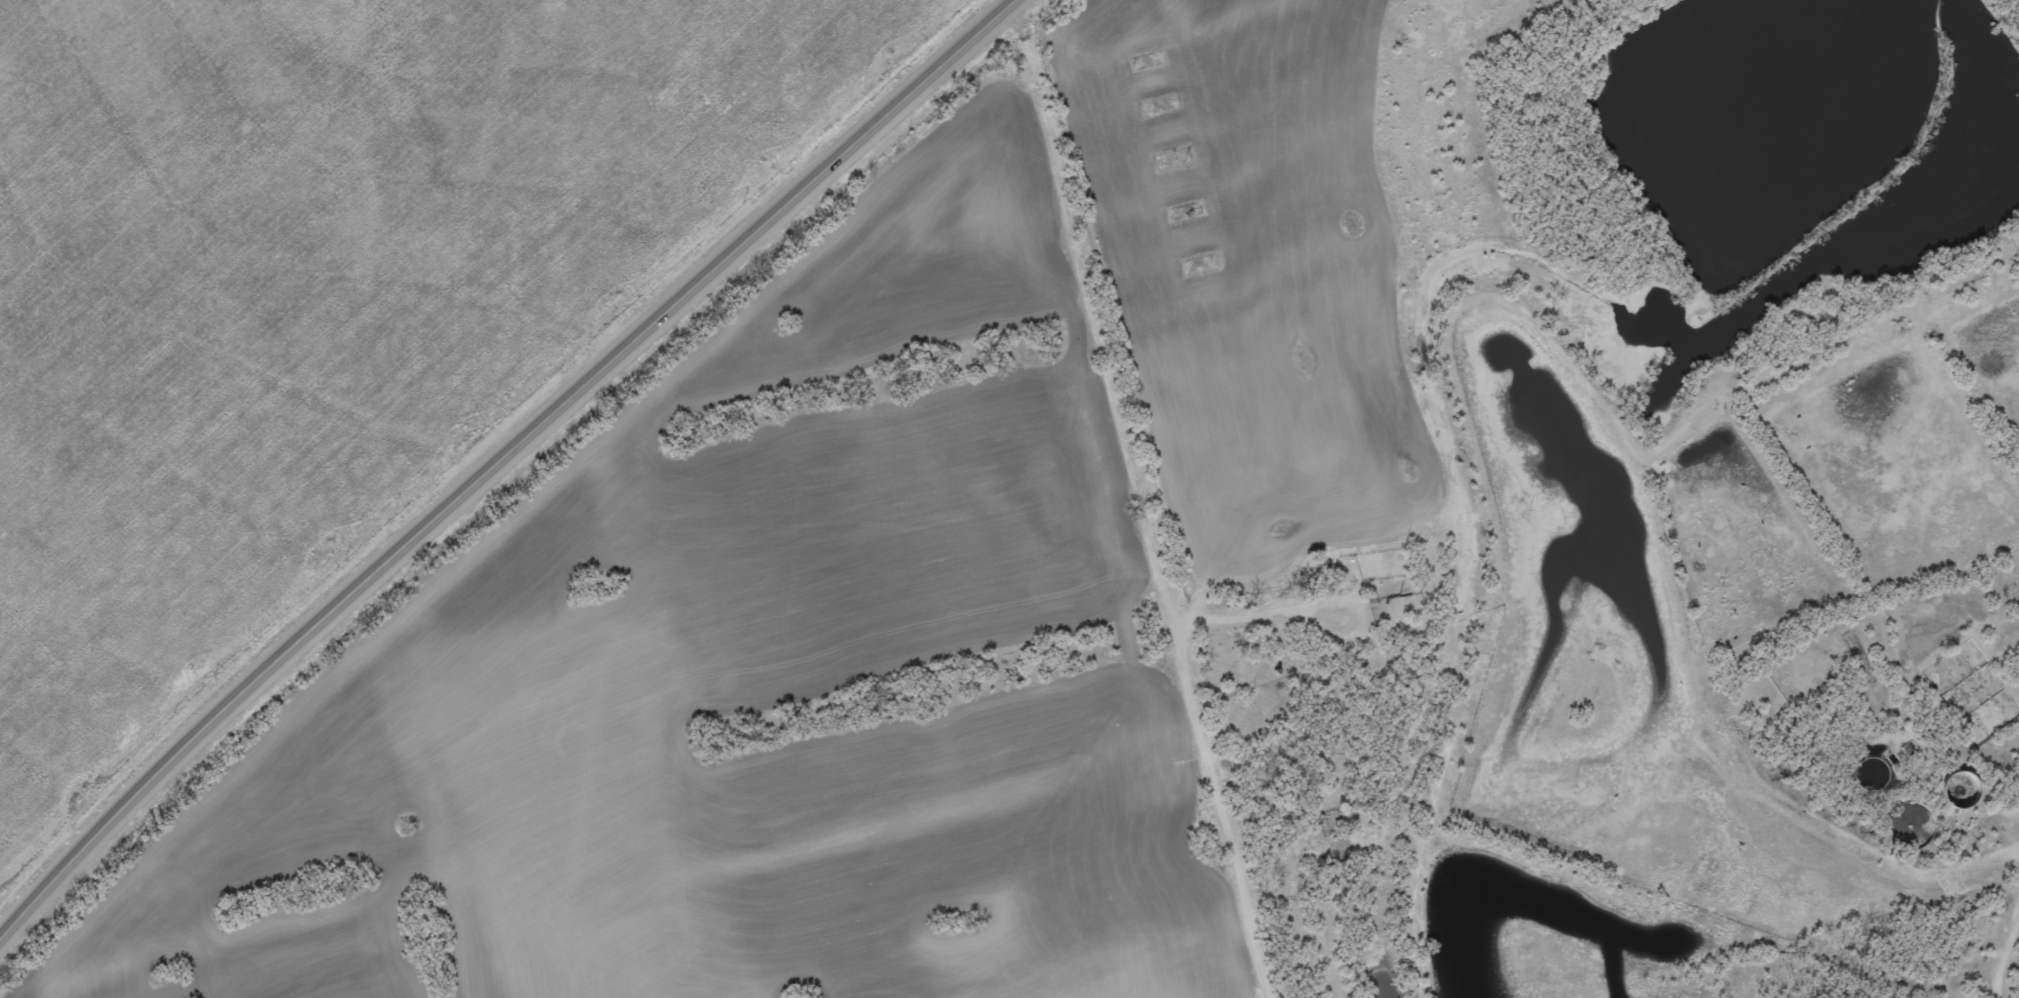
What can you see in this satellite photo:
road: (500, 459)
road: (1142, 499)

